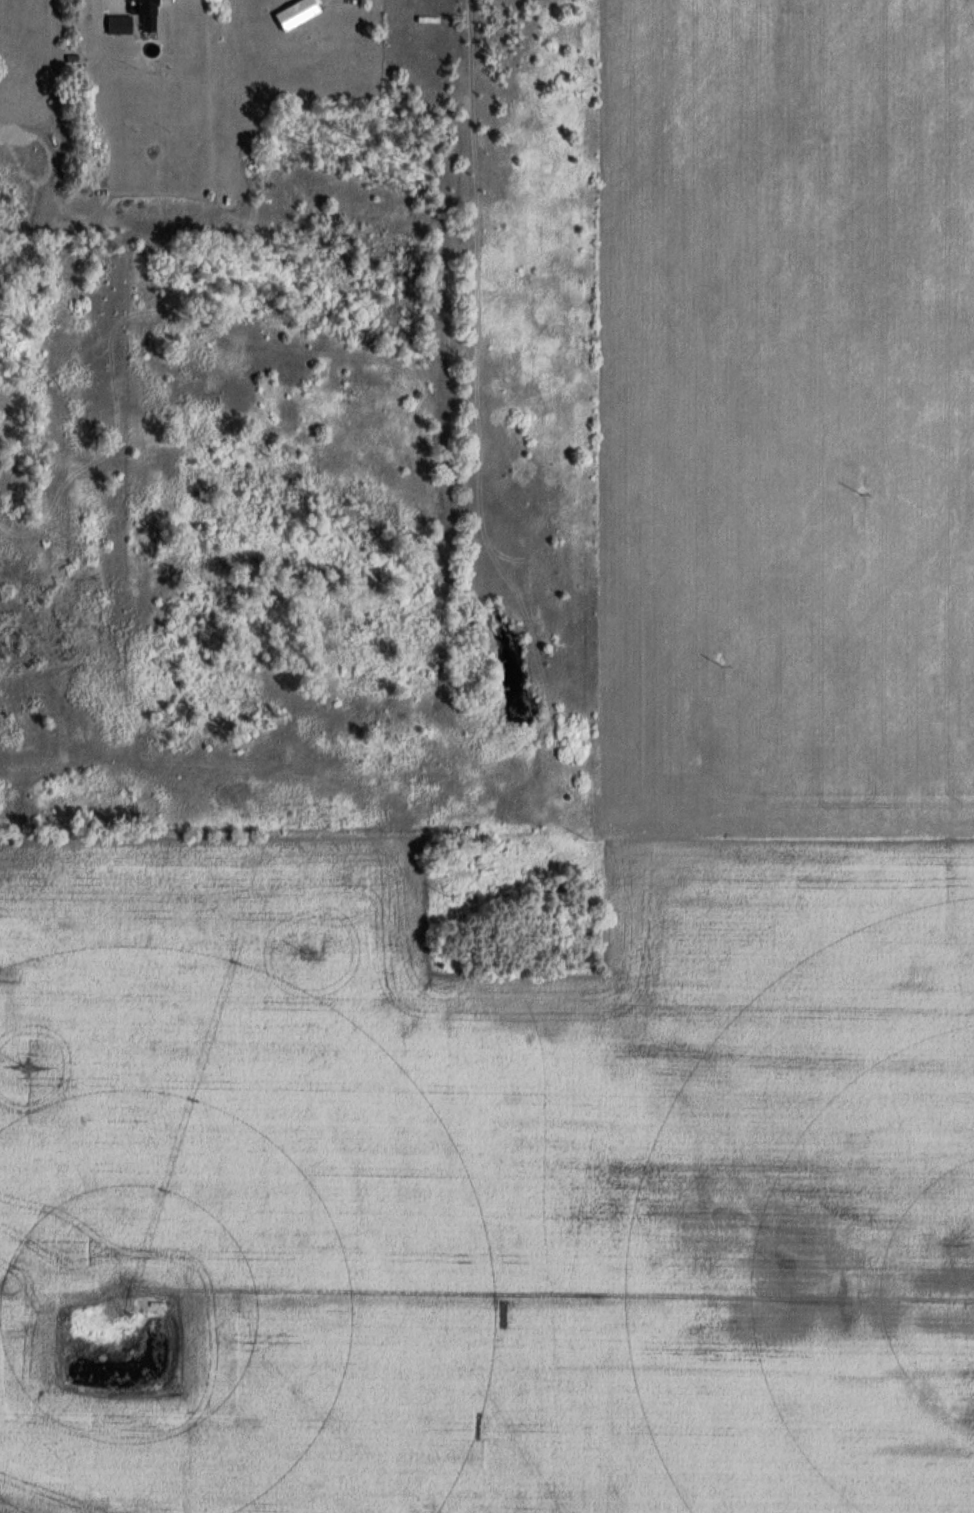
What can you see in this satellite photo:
building: (145, 13)
building: (294, 13)
building: (118, 25)

